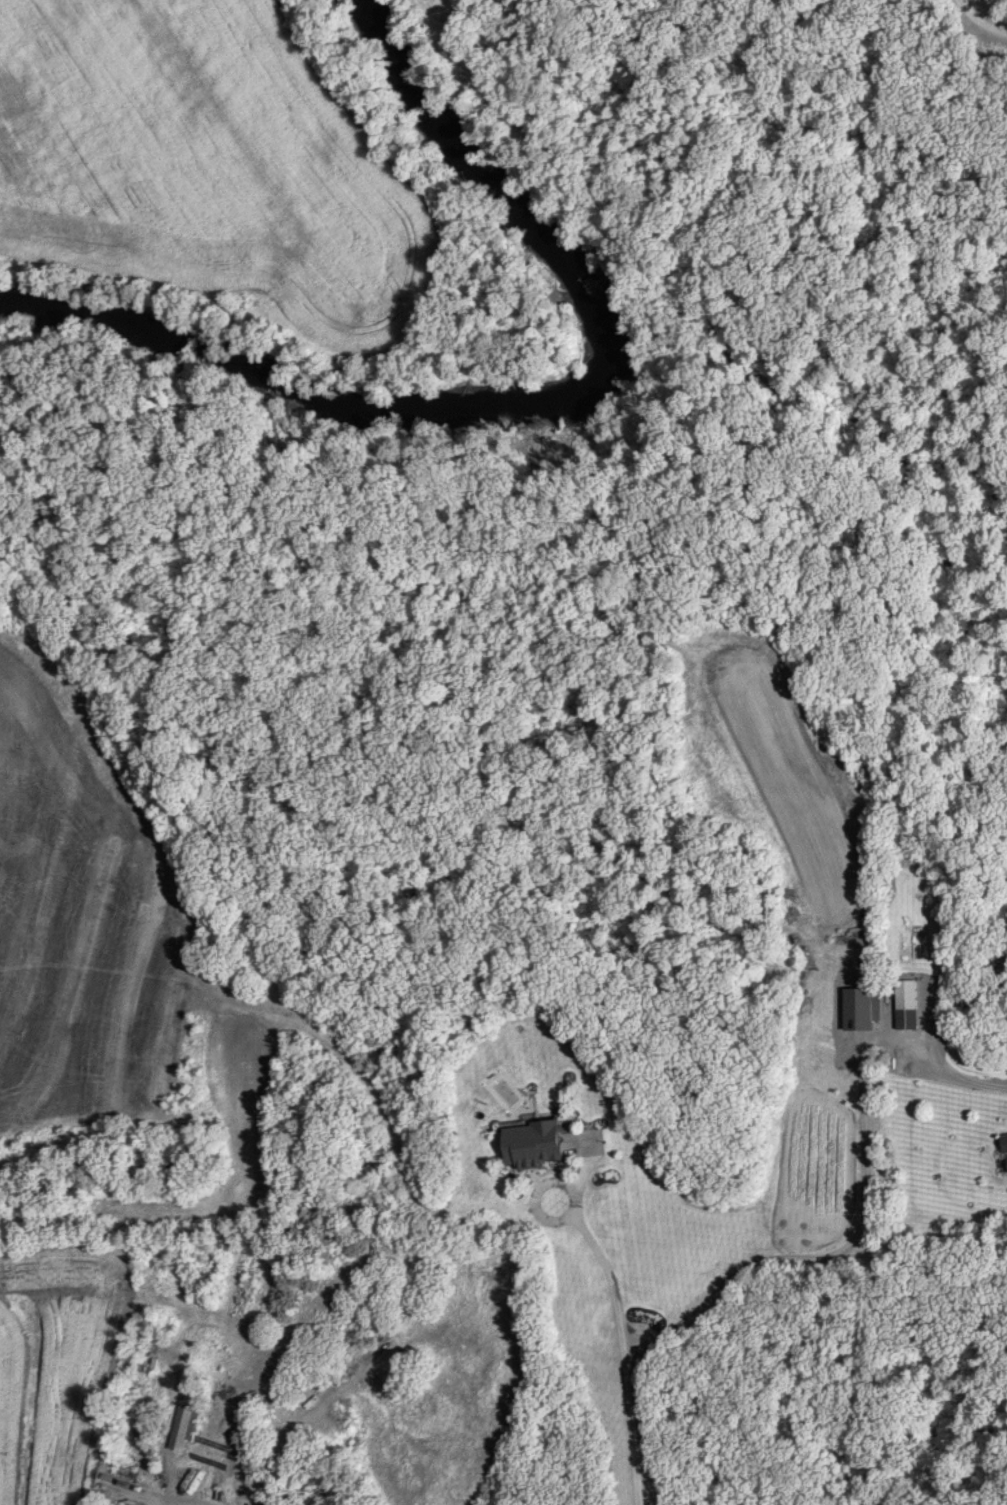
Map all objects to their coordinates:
road: (980, 21)
river: (523, 401)
building: (861, 1008)
building: (907, 1019)
building: (1005, 1143)
building: (534, 1144)
road: (829, 1256)
building: (306, 1401)
building: (187, 1416)

